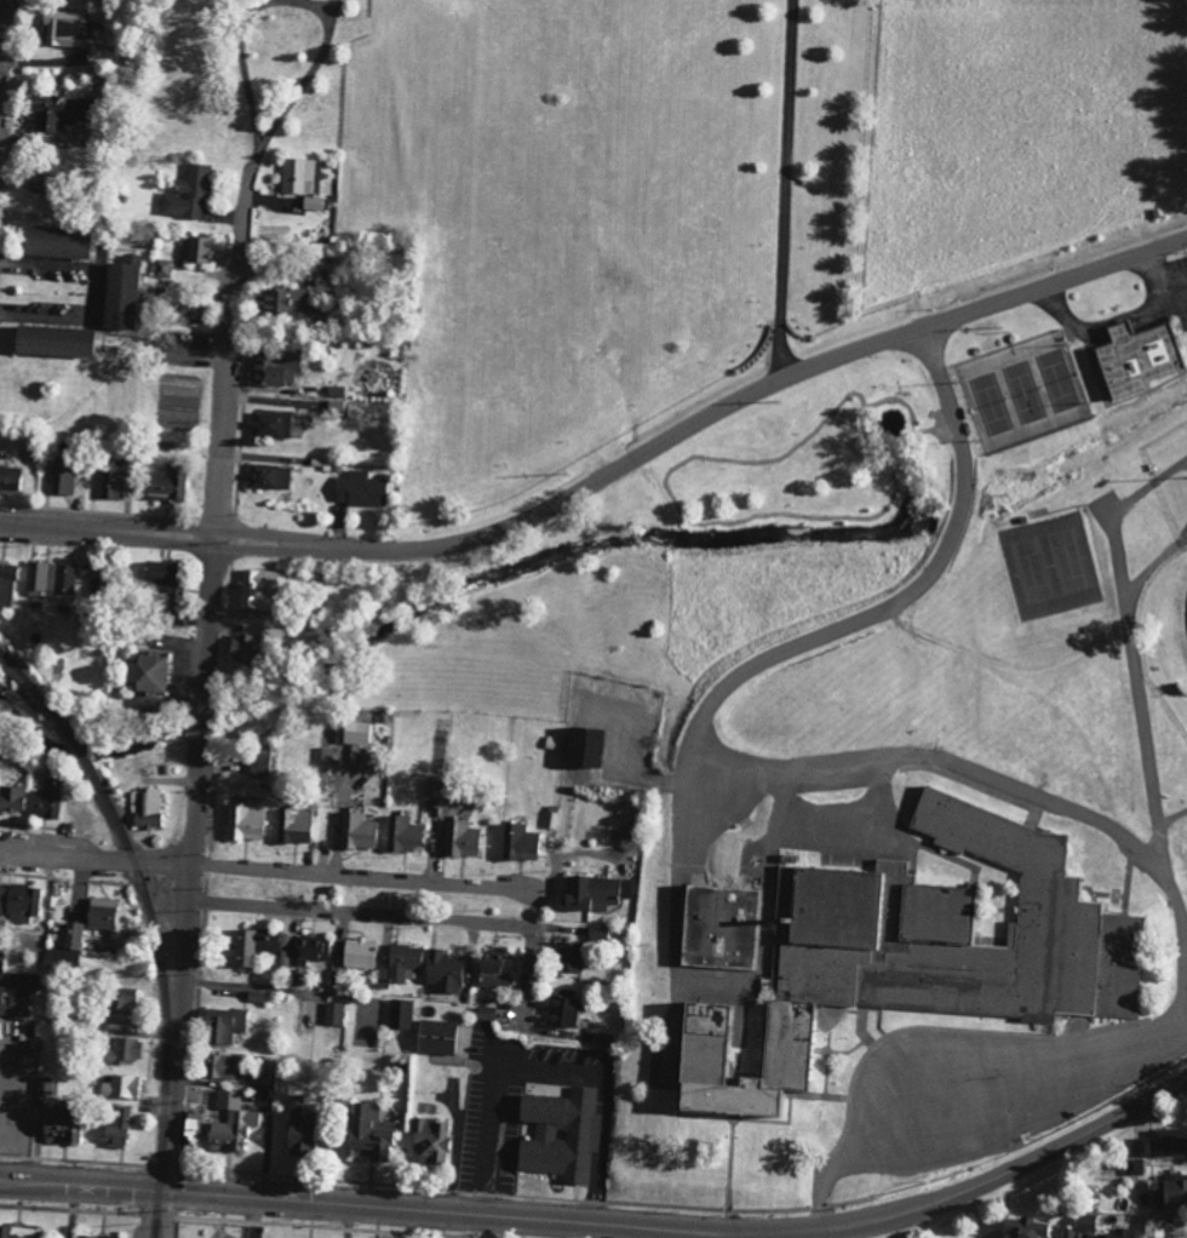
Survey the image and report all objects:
road: (1, 17)
building: (61, 29)
building: (58, 109)
road: (274, 127)
building: (297, 174)
building: (35, 179)
road: (784, 188)
building: (187, 193)
building: (311, 202)
park: (606, 210)
building: (52, 241)
building: (195, 248)
building: (314, 274)
building: (117, 292)
building: (287, 300)
building: (188, 311)
building: (50, 340)
building: (1136, 356)
building: (274, 367)
park: (1059, 379)
park: (1025, 391)
park: (991, 403)
building: (337, 405)
building: (269, 424)
road: (608, 471)
building: (62, 476)
building: (268, 476)
building: (111, 478)
building: (11, 480)
building: (165, 482)
building: (359, 488)
road: (669, 488)
road: (220, 514)
park: (656, 558)
park: (1068, 561)
park: (1032, 569)
building: (86, 572)
building: (155, 573)
building: (36, 578)
building: (64, 581)
building: (7, 584)
building: (253, 589)
track: (1186, 615)
building: (171, 617)
building: (242, 647)
building: (144, 672)
railway: (34, 692)
building: (257, 727)
road: (707, 739)
building: (581, 746)
railway: (81, 751)
building: (258, 763)
building: (348, 776)
building: (30, 799)
building: (148, 808)
building: (245, 819)
building: (292, 825)
building: (357, 831)
building: (402, 833)
building: (460, 838)
building: (517, 842)
road: (96, 858)
road: (365, 873)
building: (592, 893)
building: (0, 895)
building: (21, 902)
road: (408, 912)
building: (107, 917)
building: (716, 927)
building: (68, 945)
building: (259, 946)
building: (311, 947)
building: (357, 952)
building: (914, 955)
building: (567, 957)
building: (398, 964)
building: (489, 969)
building: (442, 970)
railway: (164, 998)
building: (119, 999)
building: (13, 1004)
building: (562, 1008)
building: (333, 1013)
building: (400, 1014)
building: (222, 1025)
building: (13, 1030)
building: (435, 1037)
road: (937, 1042)
building: (121, 1051)
building: (218, 1066)
building: (42, 1084)
building: (121, 1087)
building: (228, 1100)
building: (116, 1127)
building: (191, 1127)
building: (58, 1128)
building: (229, 1130)
building: (297, 1130)
building: (367, 1131)
building: (558, 1134)
building: (429, 1141)
building: (1169, 1141)
building: (1142, 1147)
building: (1134, 1167)
road: (980, 1183)
building: (1169, 1191)
road: (378, 1203)
road: (144, 1211)
road: (166, 1213)
road: (413, 1222)
building: (1084, 1222)
building: (1153, 1227)
building: (16, 1232)
road: (818, 1234)

